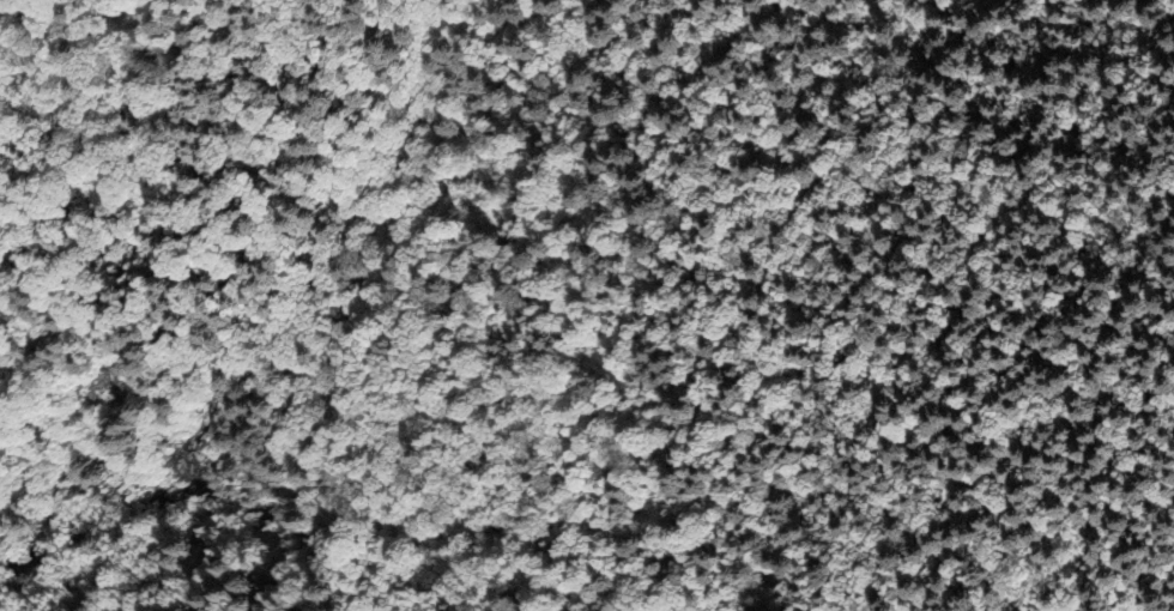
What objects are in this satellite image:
road: (574, 304)

